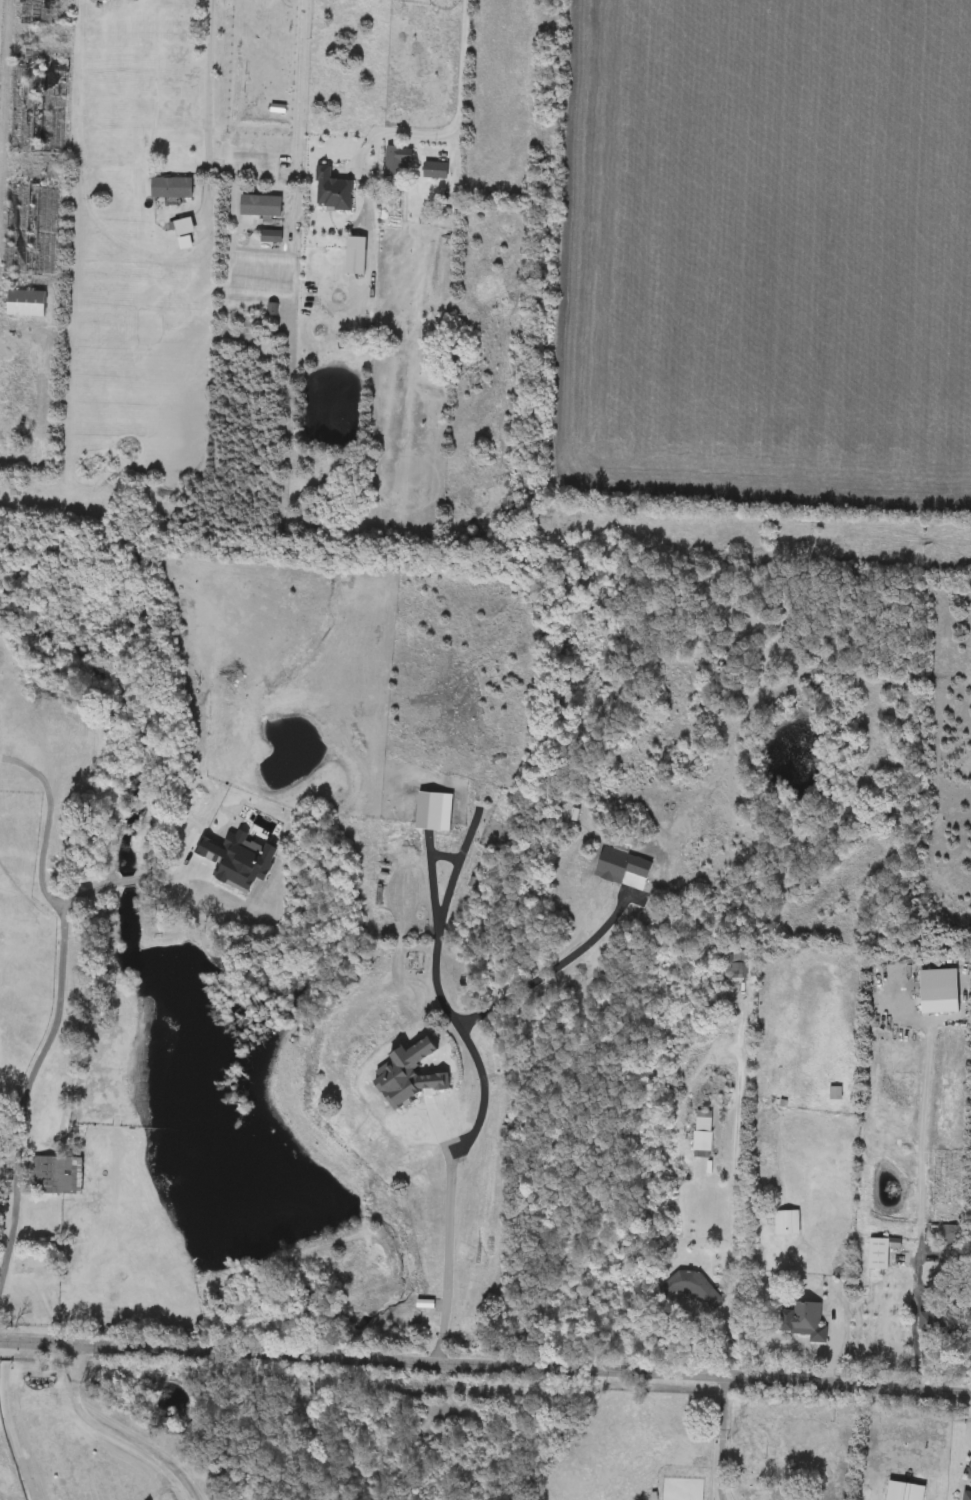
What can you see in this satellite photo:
building: (32, 13)
road: (209, 79)
road: (299, 94)
building: (38, 108)
road: (459, 122)
building: (395, 163)
building: (172, 189)
building: (262, 208)
building: (185, 233)
building: (271, 238)
building: (28, 306)
road: (44, 824)
road: (537, 976)
road: (438, 996)
building: (718, 1024)
road: (45, 1047)
building: (704, 1134)
building: (54, 1177)
road: (919, 1182)
road: (732, 1207)
building: (787, 1224)
building: (952, 1237)
building: (881, 1254)
road: (445, 1256)
building: (701, 1292)
building: (804, 1323)
road: (5, 1351)
road: (485, 1366)
road: (13, 1429)
road: (111, 1435)
road: (721, 1439)
building: (968, 1474)
building: (904, 1492)
building: (966, 1495)

